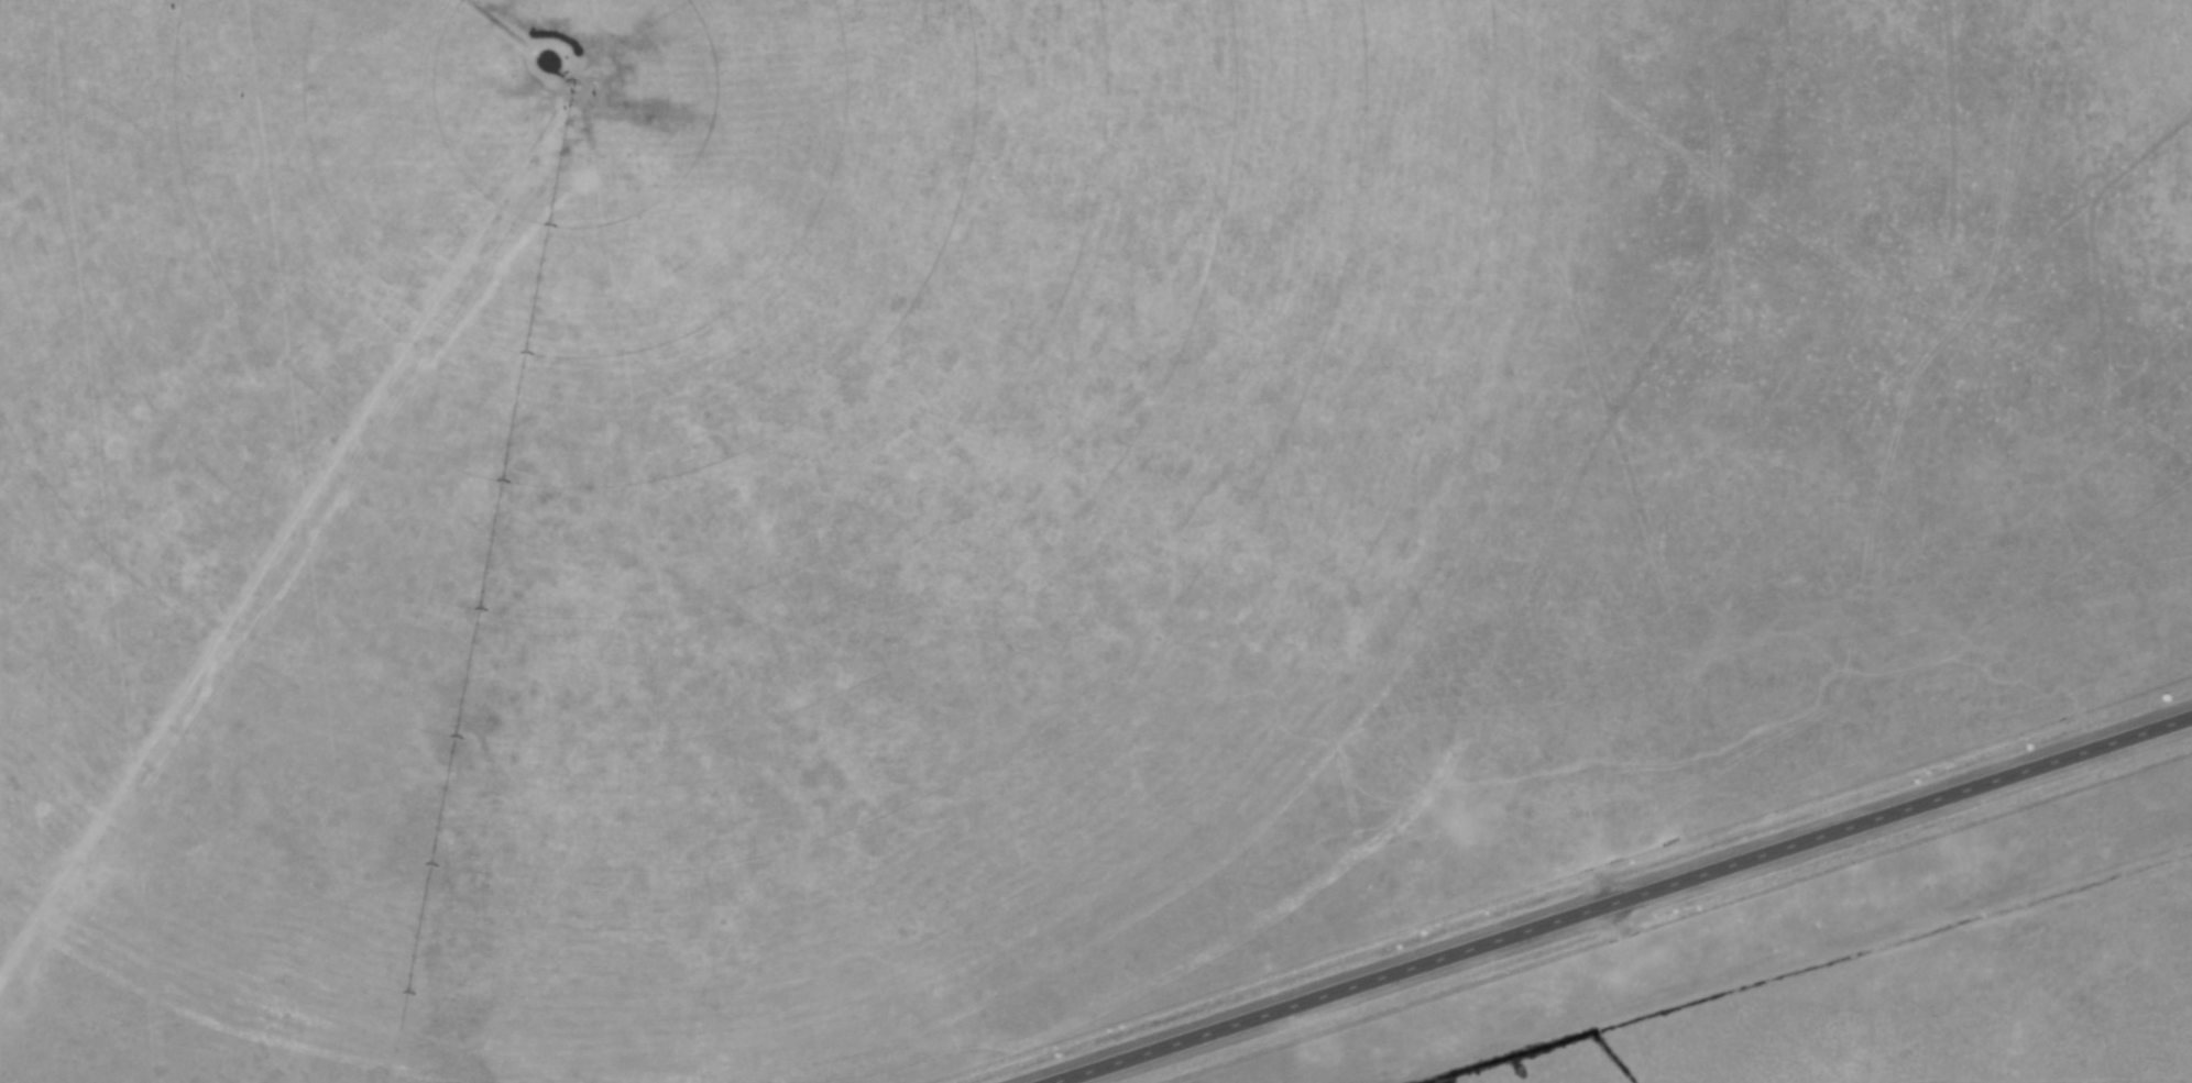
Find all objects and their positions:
crop: (734, 465)
road: (1620, 898)

